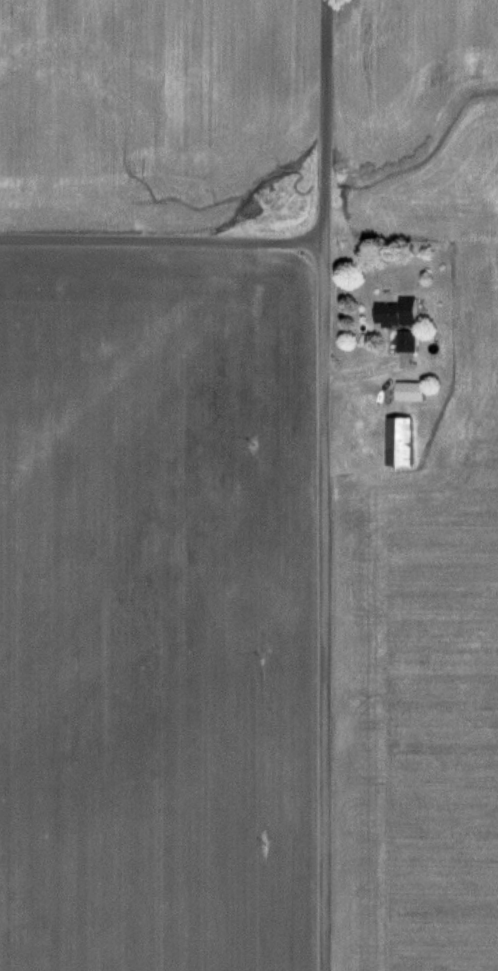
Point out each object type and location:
road: (162, 241)
building: (401, 311)
building: (409, 340)
building: (413, 391)
building: (403, 441)
road: (323, 485)

